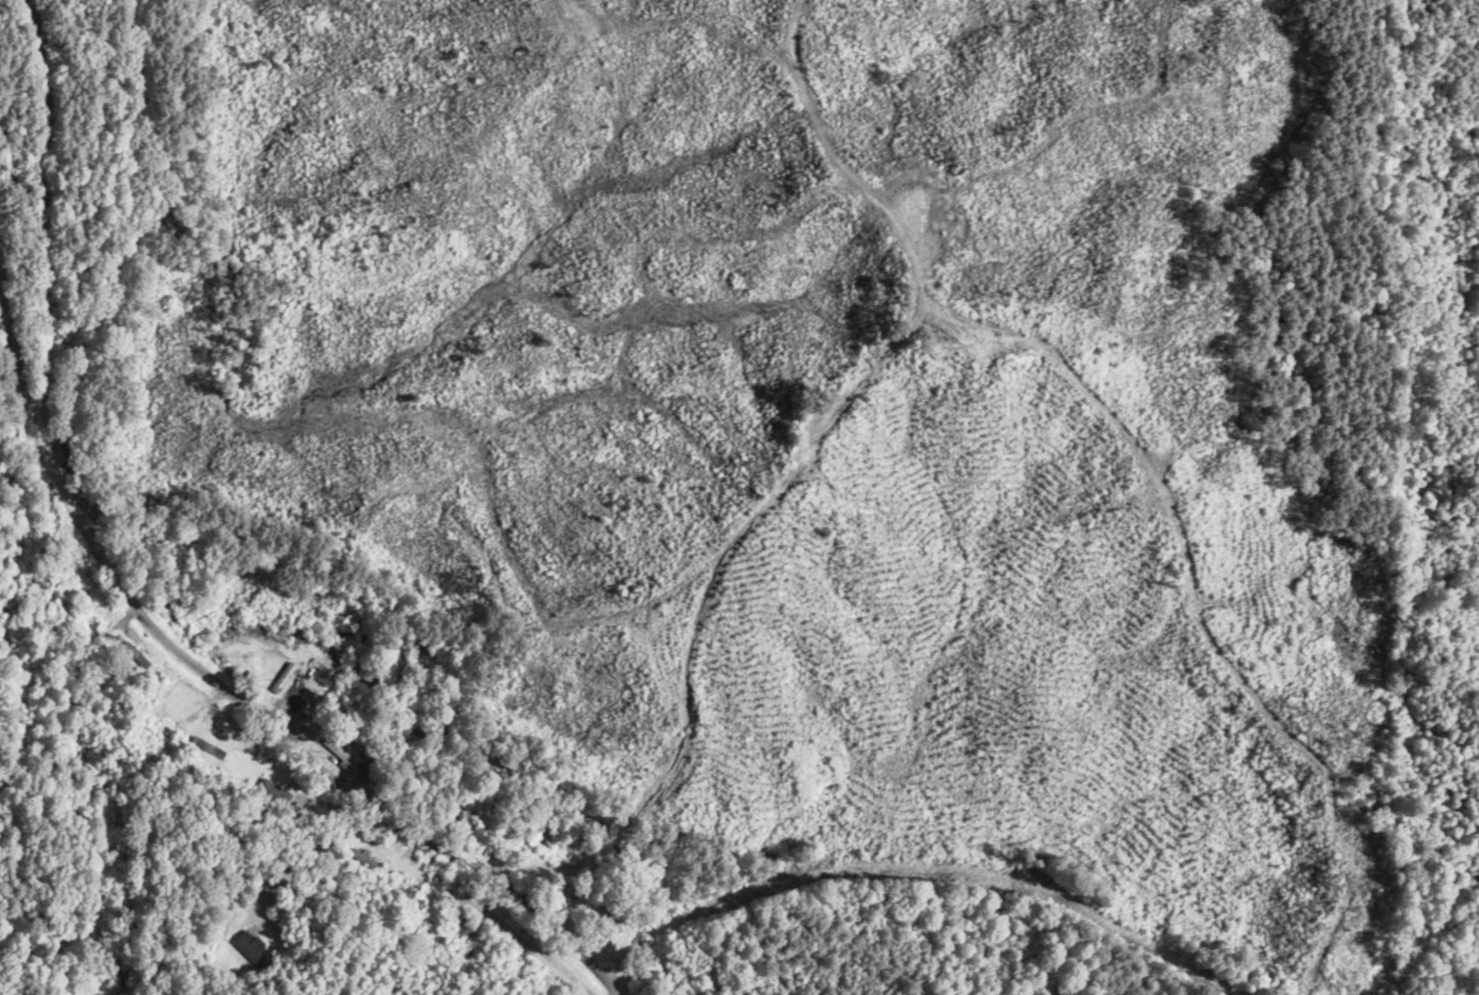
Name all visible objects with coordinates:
building: (65, 571)
road: (127, 572)
building: (88, 625)
building: (282, 677)
building: (158, 704)
building: (207, 747)
building: (339, 754)
building: (363, 857)
building: (462, 931)
building: (253, 949)

